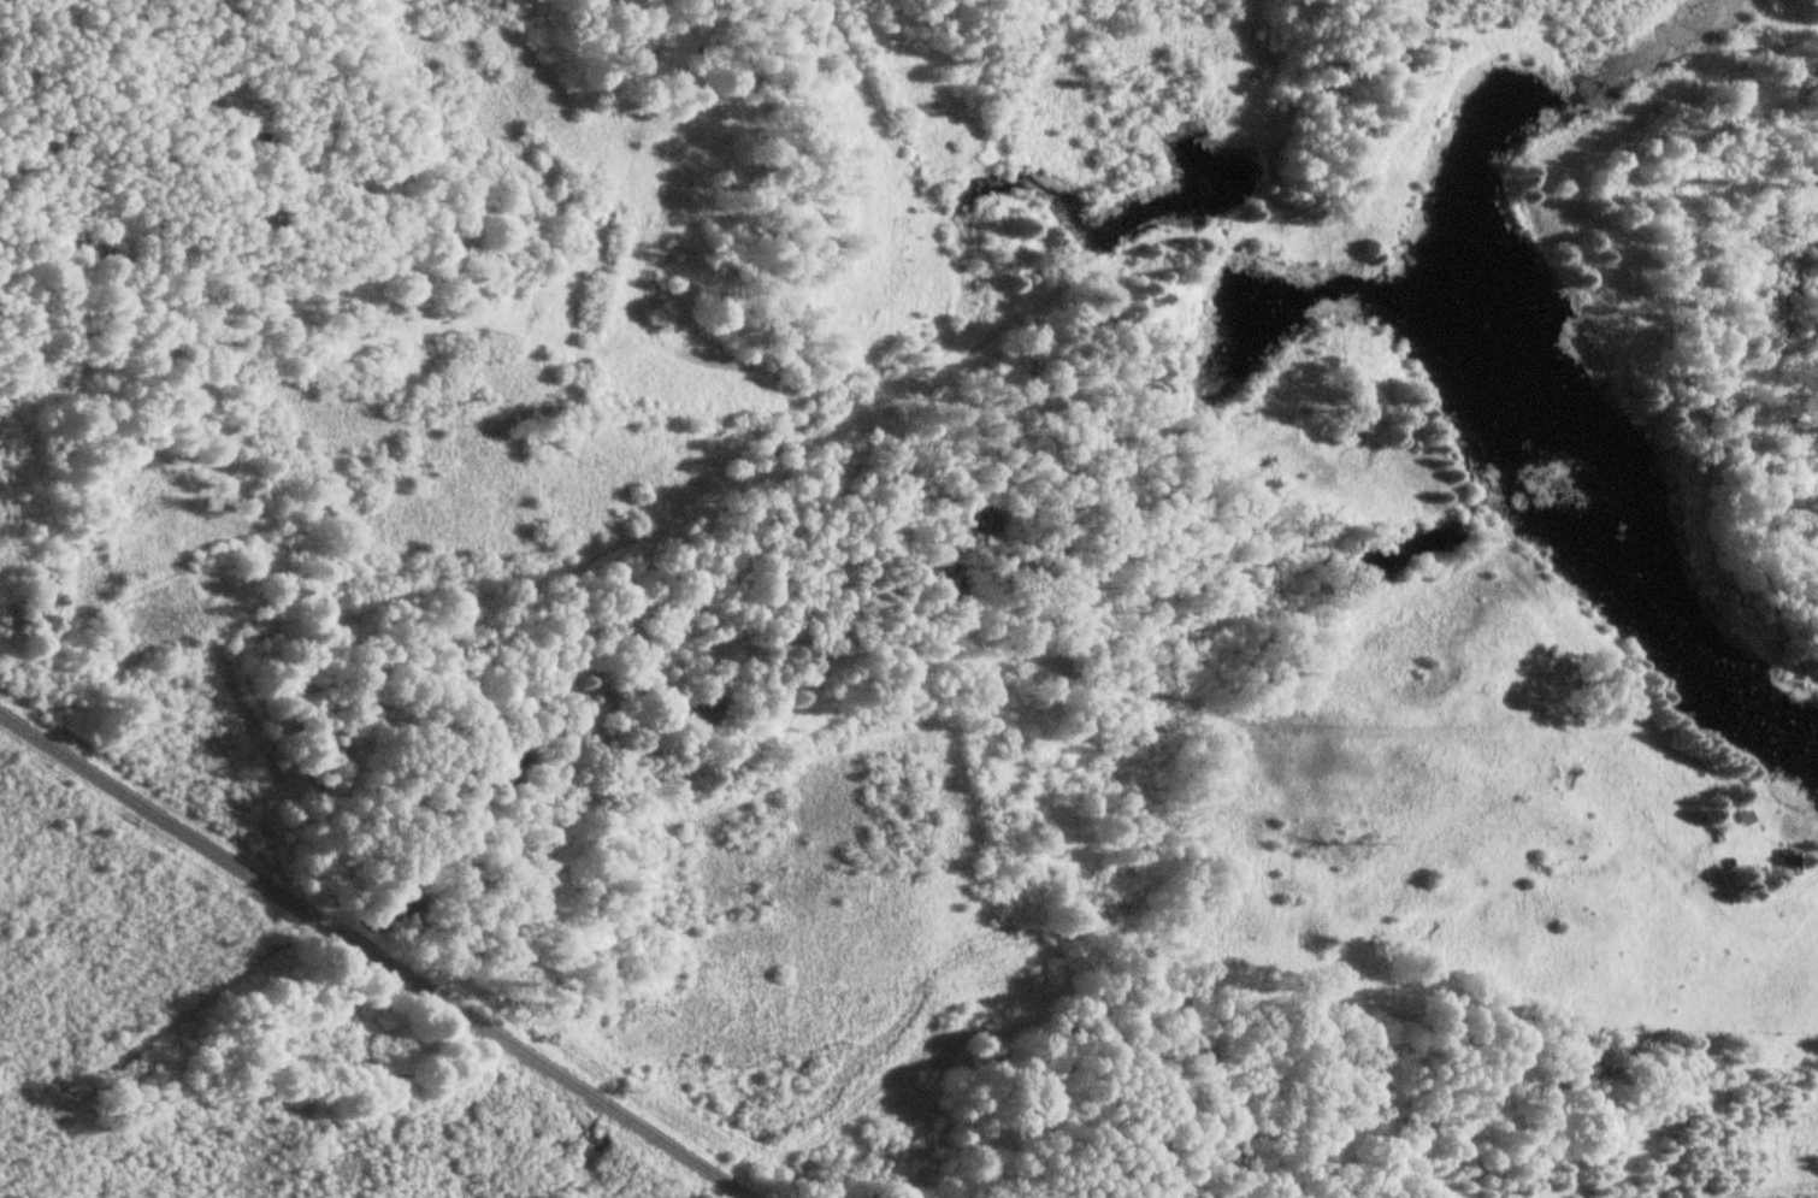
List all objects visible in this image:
building: (1210, 391)
building: (1789, 862)
railway: (377, 954)

